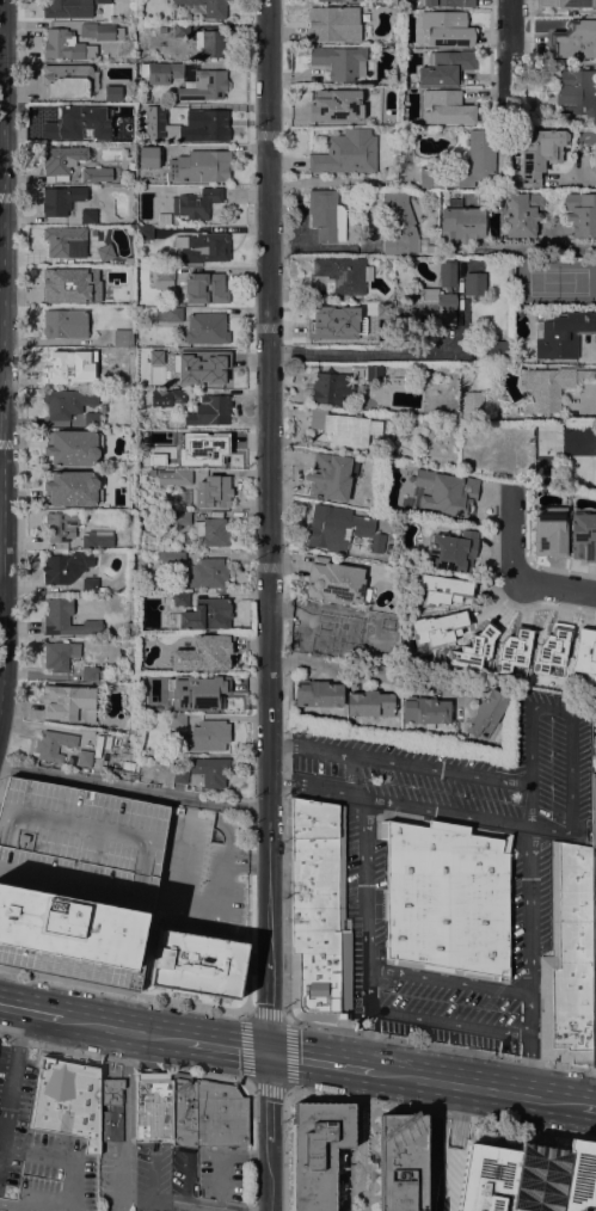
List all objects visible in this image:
building: (340, 0)
building: (446, 2)
building: (575, 2)
building: (69, 7)
building: (205, 7)
building: (333, 24)
building: (446, 29)
building: (180, 30)
building: (97, 31)
building: (573, 38)
building: (211, 43)
building: (61, 44)
road: (508, 56)
building: (339, 62)
building: (446, 68)
building: (186, 79)
building: (67, 81)
building: (575, 87)
building: (334, 105)
building: (444, 107)
building: (179, 110)
building: (59, 121)
building: (208, 127)
building: (94, 131)
building: (128, 131)
building: (481, 148)
building: (346, 153)
building: (594, 153)
building: (540, 154)
building: (148, 158)
building: (61, 159)
building: (199, 166)
building: (94, 174)
road: (337, 179)
building: (505, 182)
road: (580, 182)
building: (61, 199)
building: (196, 203)
building: (522, 214)
building: (580, 214)
building: (326, 215)
building: (87, 216)
building: (164, 219)
building: (401, 221)
building: (460, 222)
building: (143, 232)
building: (66, 242)
road: (325, 246)
road: (537, 247)
building: (201, 248)
building: (428, 248)
building: (342, 273)
building: (447, 273)
building: (162, 276)
building: (56, 283)
building: (474, 284)
building: (205, 288)
building: (96, 297)
building: (559, 305)
building: (429, 307)
building: (171, 313)
building: (64, 324)
building: (342, 327)
building: (207, 328)
building: (561, 333)
building: (123, 338)
road: (595, 346)
building: (497, 350)
road: (380, 352)
road: (2, 354)
building: (182, 355)
building: (60, 363)
building: (205, 370)
building: (374, 373)
building: (588, 375)
building: (88, 379)
building: (124, 380)
building: (407, 382)
building: (332, 388)
building: (546, 389)
building: (177, 395)
building: (67, 401)
building: (472, 401)
building: (209, 411)
building: (92, 420)
building: (344, 428)
building: (178, 436)
building: (72, 448)
building: (213, 451)
building: (392, 453)
building: (142, 474)
building: (174, 477)
building: (331, 477)
building: (72, 488)
building: (595, 491)
building: (213, 492)
building: (443, 492)
building: (182, 497)
building: (174, 520)
building: (149, 522)
road: (266, 525)
building: (61, 529)
building: (340, 529)
building: (210, 531)
building: (549, 531)
road: (512, 536)
building: (583, 536)
building: (96, 539)
building: (451, 552)
building: (176, 559)
building: (64, 566)
building: (208, 573)
building: (334, 580)
building: (91, 585)
road: (1, 589)
building: (442, 589)
road: (554, 589)
building: (180, 600)
building: (202, 615)
building: (66, 619)
building: (436, 628)
building: (334, 629)
building: (512, 650)
building: (471, 651)
building: (552, 652)
building: (584, 652)
building: (203, 654)
building: (59, 656)
road: (364, 670)
building: (90, 674)
building: (317, 694)
building: (215, 695)
building: (68, 703)
building: (369, 703)
road: (551, 709)
building: (424, 712)
building: (487, 713)
building: (179, 719)
building: (209, 736)
building: (53, 745)
building: (82, 757)
road: (398, 762)
road: (529, 764)
building: (208, 772)
road: (571, 772)
building: (179, 774)
road: (2, 775)
road: (133, 788)
road: (397, 801)
building: (594, 810)
road: (549, 826)
building: (76, 880)
road: (363, 881)
building: (447, 899)
road: (284, 900)
road: (247, 910)
building: (317, 914)
road: (529, 929)
building: (567, 960)
building: (197, 964)
road: (448, 979)
road: (122, 990)
road: (30, 1010)
road: (449, 1022)
road: (20, 1027)
road: (123, 1029)
road: (368, 1039)
road: (228, 1045)
road: (441, 1045)
traffic signals: (269, 1052)
road: (124, 1058)
road: (317, 1061)
road: (527, 1065)
road: (247, 1080)
road: (128, 1086)
road: (473, 1087)
building: (67, 1100)
road: (8, 1102)
road: (588, 1106)
building: (154, 1107)
building: (111, 1109)
building: (184, 1112)
road: (441, 1113)
building: (219, 1114)
road: (456, 1115)
road: (268, 1131)
road: (432, 1145)
road: (247, 1147)
road: (284, 1149)
building: (315, 1151)
road: (41, 1152)
road: (227, 1156)
building: (400, 1162)
building: (528, 1176)
road: (184, 1182)
road: (75, 1184)
road: (159, 1198)
road: (35, 1205)

